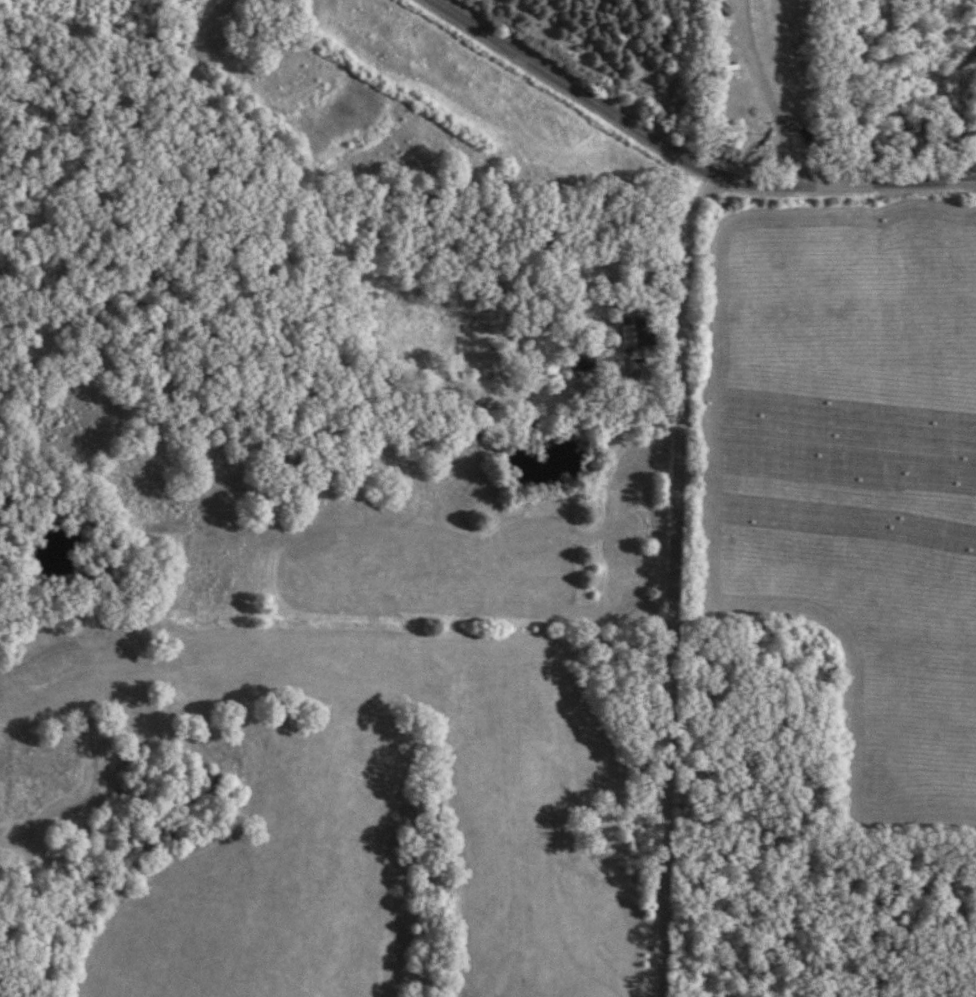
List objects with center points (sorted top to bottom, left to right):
road: (762, 94)
road: (684, 158)
road: (676, 583)

